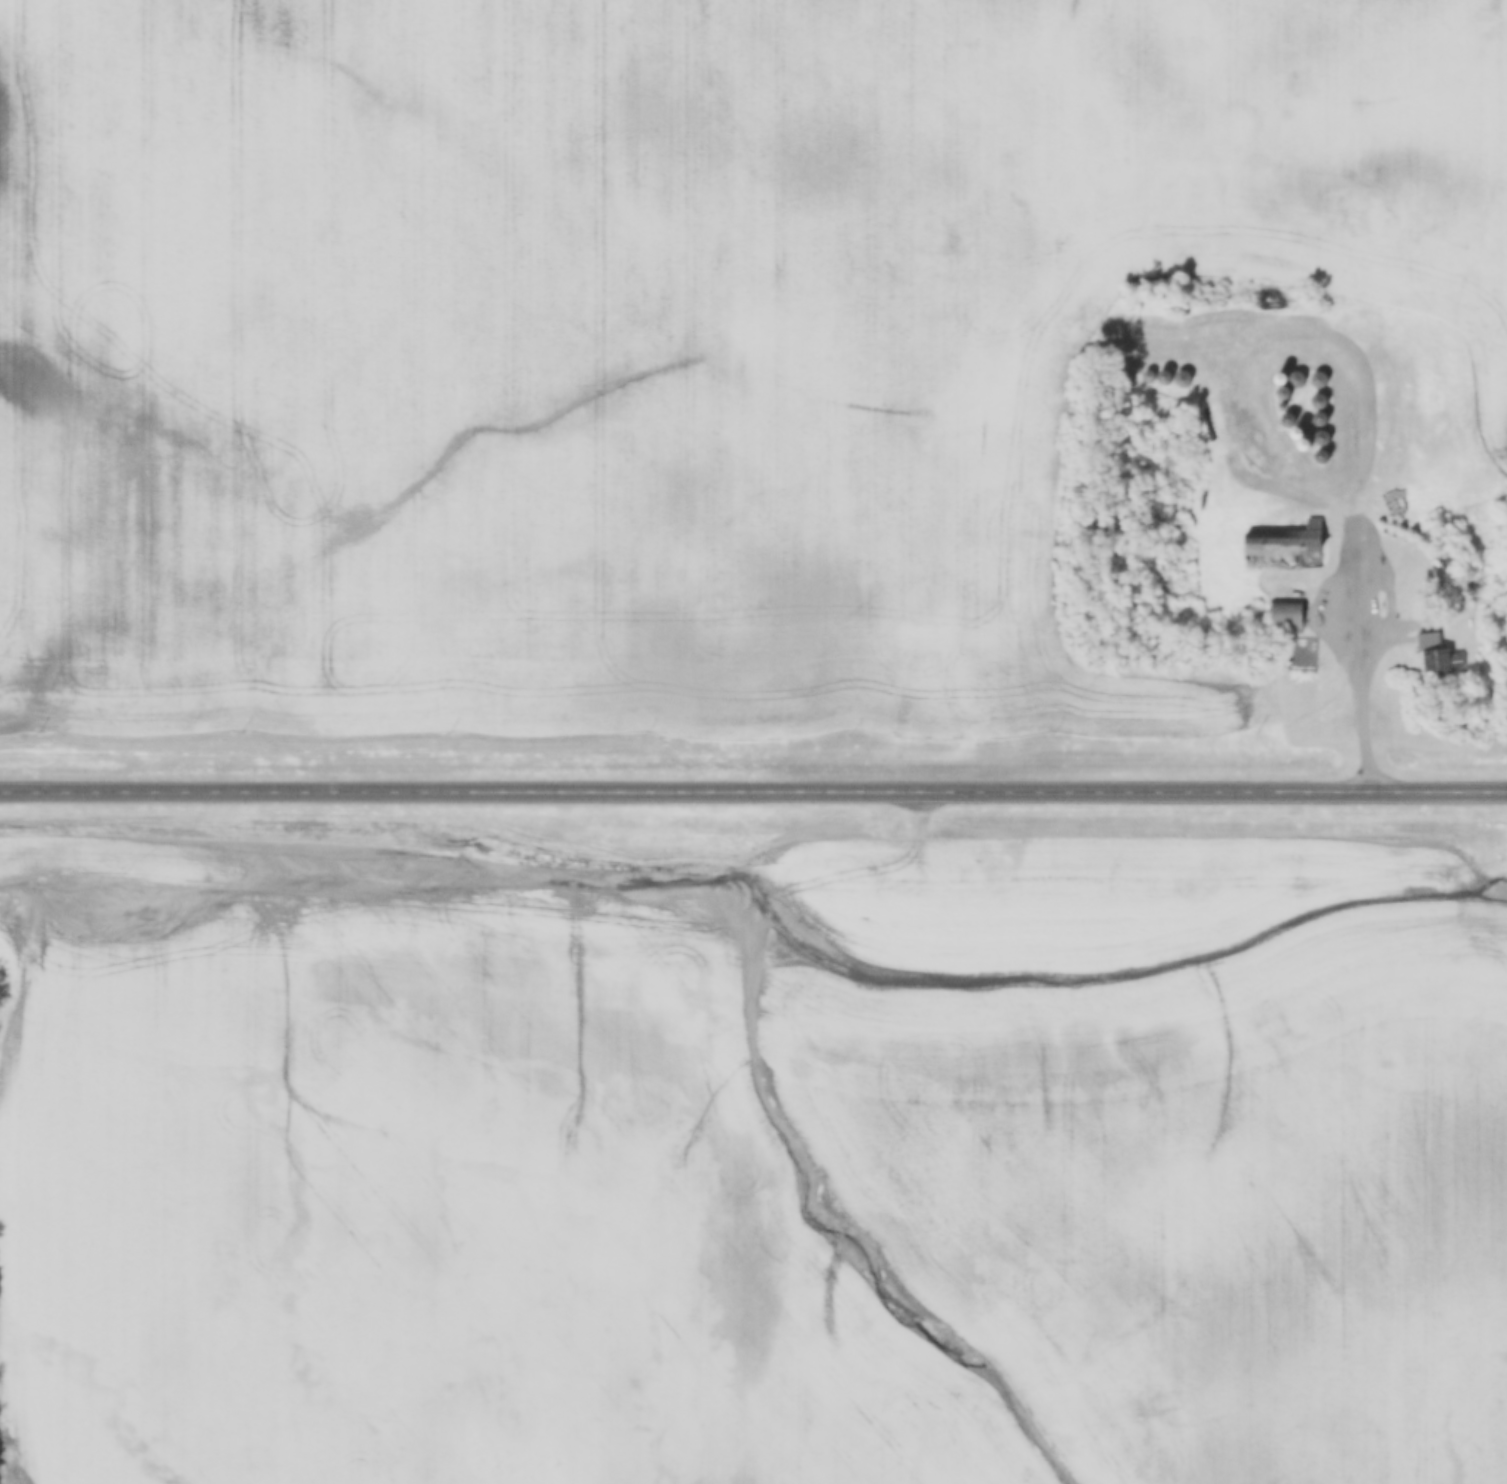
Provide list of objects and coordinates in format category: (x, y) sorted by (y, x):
building: (1296, 380)
building: (1318, 381)
building: (1318, 402)
building: (1319, 421)
building: (1287, 422)
building: (1320, 439)
building: (1283, 550)
building: (1288, 606)
building: (1437, 657)
road: (1361, 658)
road: (753, 790)

